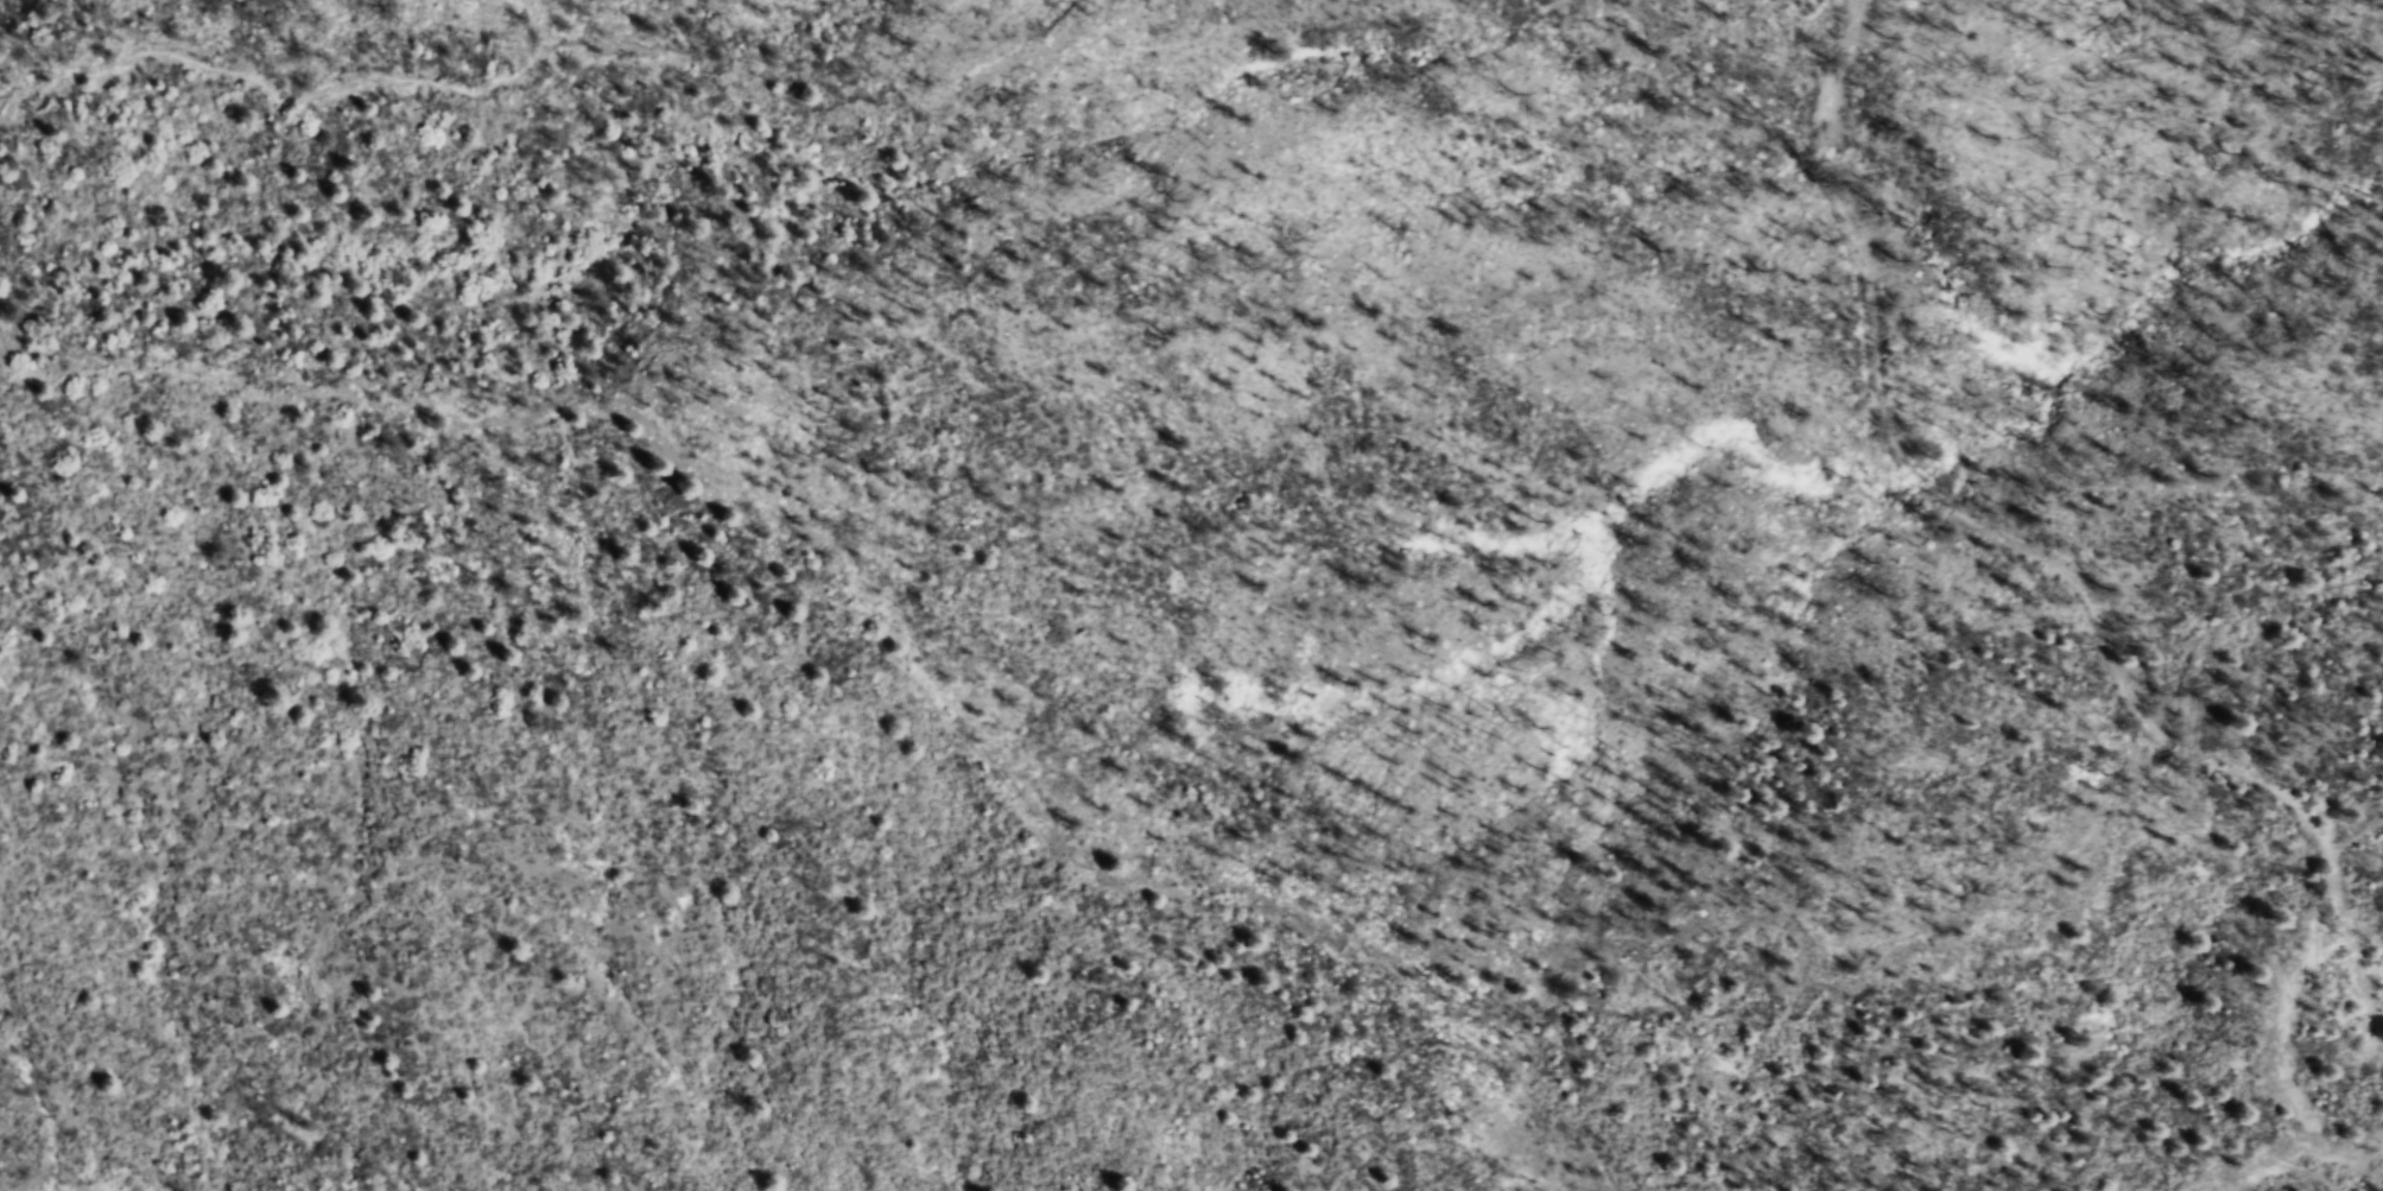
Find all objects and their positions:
road: (2027, 547)

